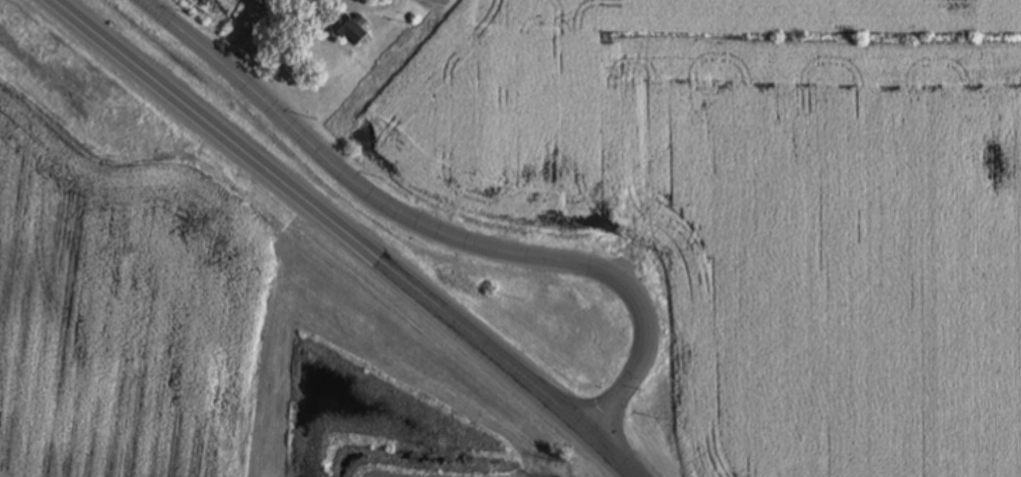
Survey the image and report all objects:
building: (352, 29)
road: (429, 229)
road: (345, 235)

